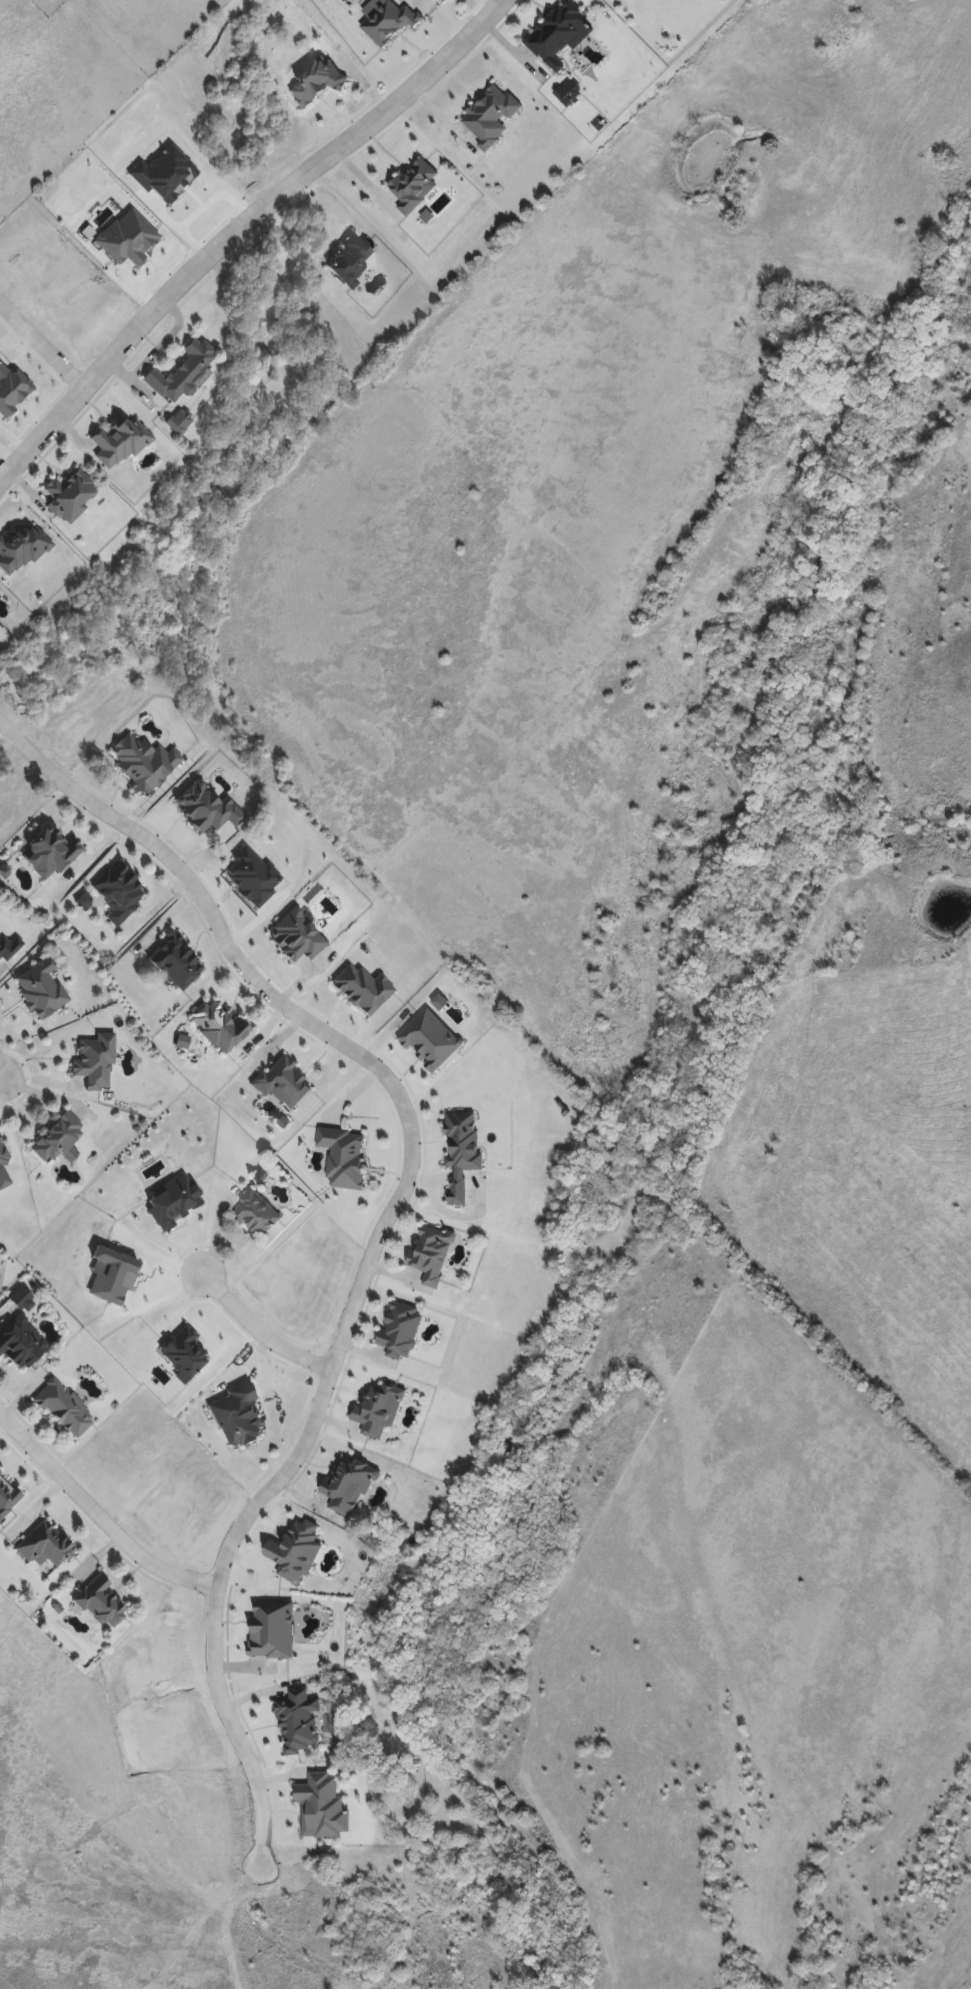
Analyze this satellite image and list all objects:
building: (835, 26)
building: (556, 36)
building: (314, 82)
building: (569, 94)
road: (240, 228)
building: (348, 260)
road: (43, 340)
building: (180, 373)
building: (178, 422)
building: (69, 496)
building: (48, 853)
building: (118, 894)
building: (9, 948)
building: (174, 962)
building: (39, 988)
building: (217, 1027)
road: (2, 1078)
road: (47, 1081)
building: (56, 1138)
building: (3, 1170)
building: (257, 1216)
road: (386, 1225)
building: (430, 1256)
building: (401, 1332)
road: (260, 1334)
building: (20, 1335)
building: (63, 1408)
road: (97, 1516)
building: (44, 1549)
building: (98, 1603)

